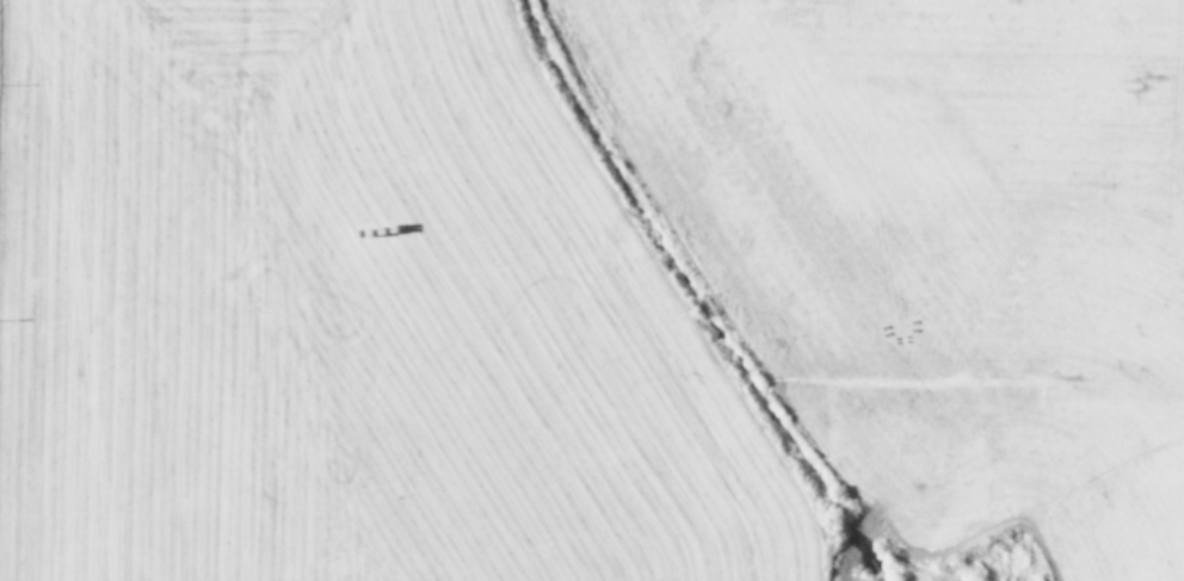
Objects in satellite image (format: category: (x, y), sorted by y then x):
crop: (592, 290)

